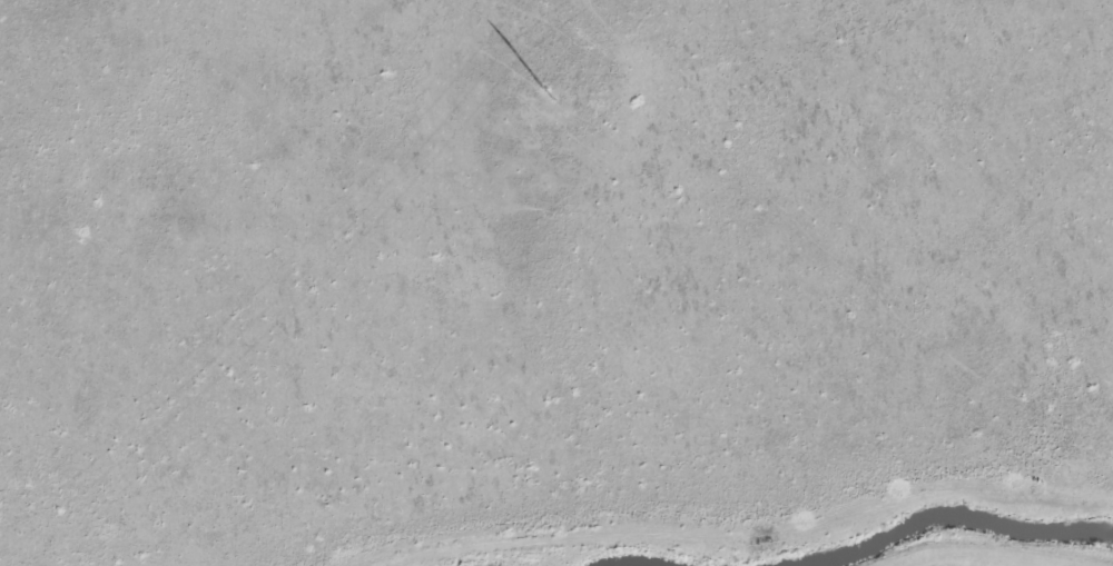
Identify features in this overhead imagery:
power tower: (552, 93)

